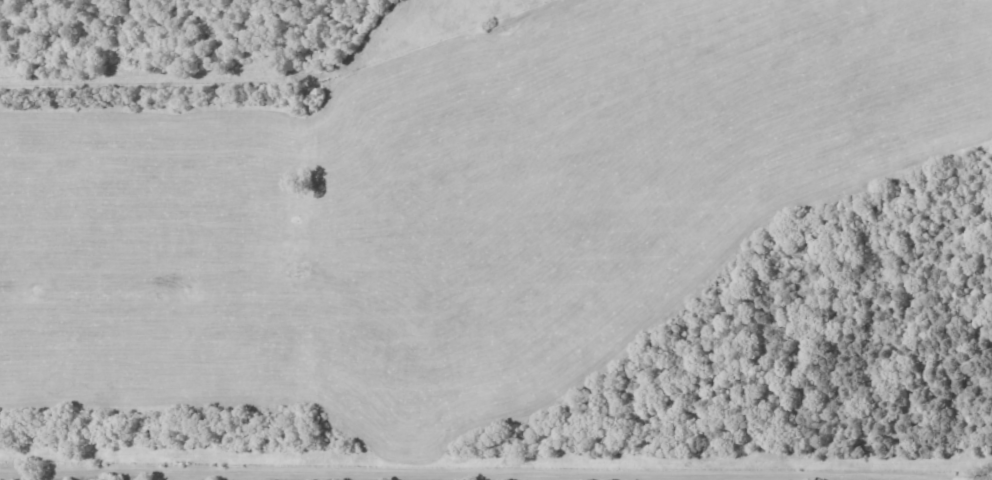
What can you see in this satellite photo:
road: (496, 473)

